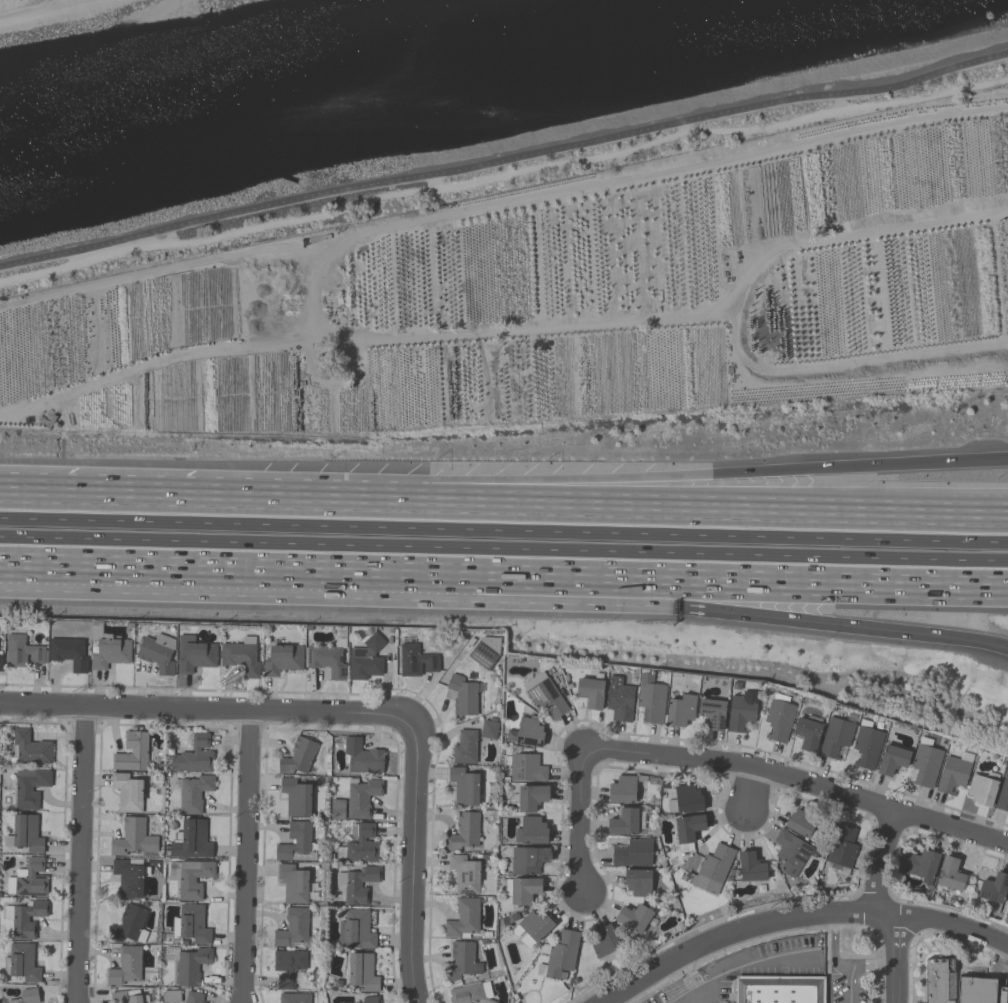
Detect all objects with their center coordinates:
river: (355, 77)
road: (504, 160)
crop: (542, 308)
road: (624, 479)
road: (120, 493)
road: (865, 500)
road: (623, 505)
road: (503, 529)
road: (503, 549)
road: (141, 570)
road: (645, 580)
road: (646, 605)
building: (23, 651)
building: (69, 652)
building: (111, 652)
building: (484, 652)
building: (157, 653)
building: (194, 654)
building: (241, 656)
building: (328, 658)
building: (283, 659)
building: (366, 659)
building: (0, 660)
building: (415, 660)
building: (590, 691)
building: (462, 695)
building: (544, 695)
building: (619, 699)
building: (650, 699)
road: (204, 709)
building: (680, 710)
building: (741, 710)
building: (712, 712)
building: (778, 717)
building: (488, 728)
building: (526, 732)
building: (807, 733)
building: (835, 737)
building: (866, 745)
building: (464, 747)
building: (30, 748)
building: (131, 752)
building: (193, 755)
building: (297, 756)
building: (361, 756)
building: (891, 759)
building: (925, 763)
building: (524, 767)
building: (953, 772)
road: (800, 782)
building: (463, 786)
building: (29, 787)
building: (622, 789)
building: (981, 789)
road: (748, 790)
building: (127, 792)
building: (193, 793)
building: (1002, 794)
building: (361, 796)
building: (295, 797)
building: (531, 797)
building: (685, 800)
building: (337, 809)
building: (623, 822)
building: (804, 822)
road: (581, 825)
building: (531, 830)
building: (687, 830)
building: (463, 832)
building: (24, 833)
building: (132, 837)
building: (190, 840)
building: (296, 843)
building: (361, 843)
building: (841, 845)
building: (790, 852)
building: (632, 853)
road: (80, 854)
road: (245, 857)
building: (528, 859)
road: (412, 864)
building: (919, 864)
building: (750, 867)
building: (711, 869)
building: (464, 873)
building: (950, 874)
building: (189, 877)
building: (128, 878)
building: (28, 879)
building: (637, 882)
building: (292, 883)
building: (356, 883)
building: (521, 889)
building: (993, 890)
road: (882, 907)
building: (633, 917)
building: (24, 918)
building: (463, 918)
road: (799, 918)
building: (128, 924)
building: (191, 924)
building: (292, 927)
building: (531, 927)
building: (355, 930)
building: (603, 940)
road: (835, 946)
building: (558, 955)
building: (461, 961)
building: (23, 963)
building: (188, 964)
building: (125, 966)
building: (287, 966)
road: (855, 967)
road: (735, 968)
building: (362, 972)
building: (955, 986)
building: (775, 991)
building: (468, 994)
building: (26, 996)
building: (125, 996)
building: (171, 996)
road: (691, 996)
building: (193, 997)
building: (293, 998)
building: (370, 999)

